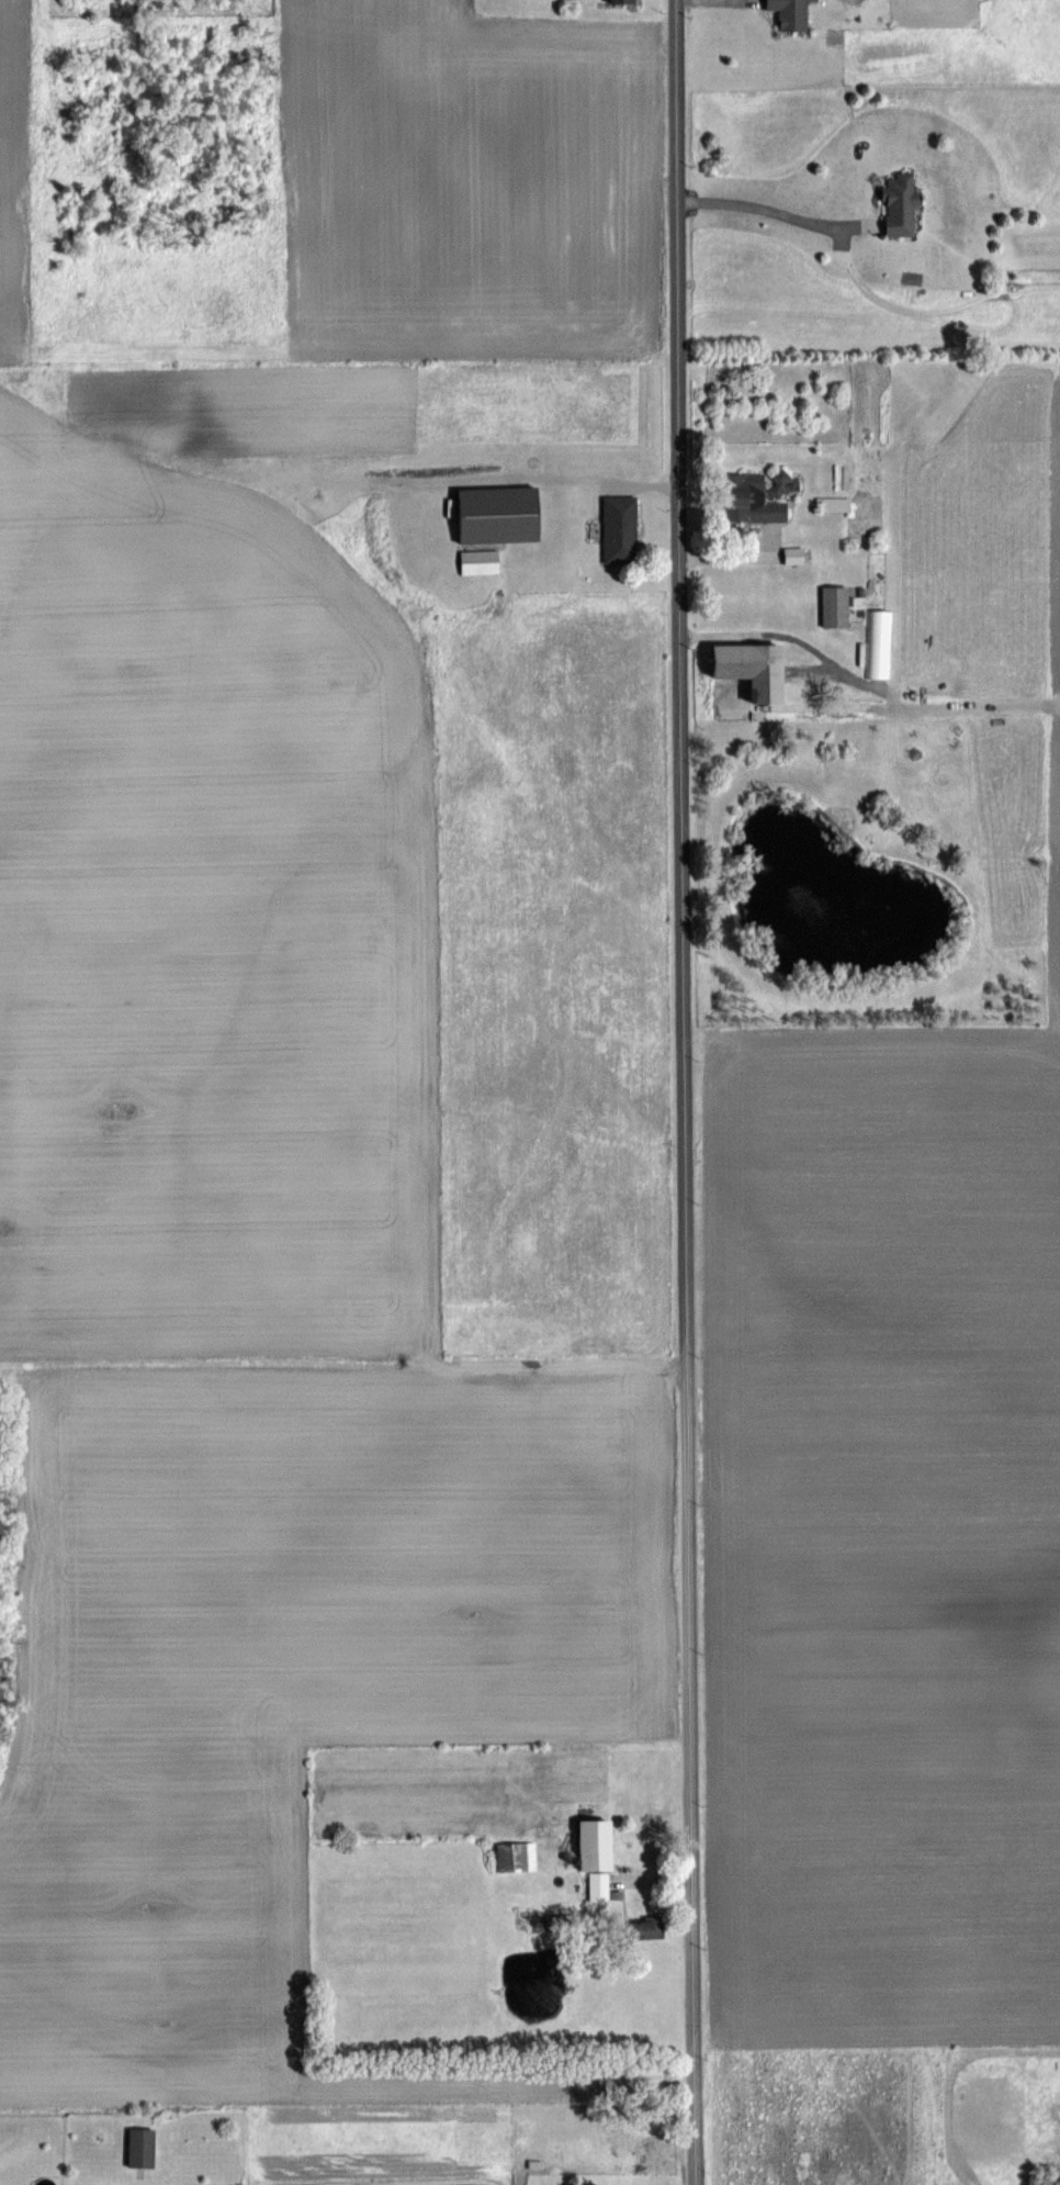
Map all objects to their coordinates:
building: (620, 2)
building: (788, 13)
building: (898, 205)
road: (776, 211)
building: (778, 481)
building: (745, 500)
building: (833, 503)
building: (496, 514)
building: (618, 528)
building: (792, 554)
building: (478, 562)
building: (834, 605)
building: (749, 668)
road: (683, 1092)
building: (594, 1844)
building: (598, 1887)
building: (645, 1927)
building: (140, 2147)

